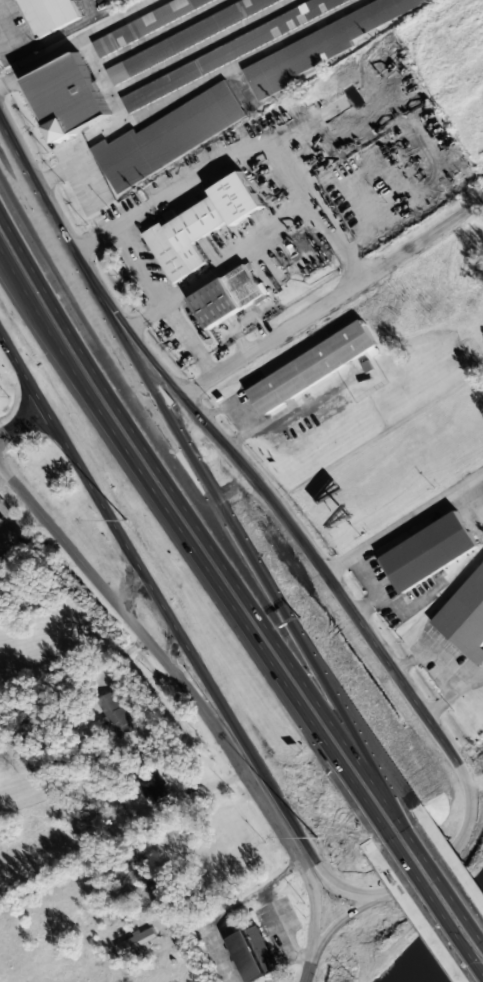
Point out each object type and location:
building: (48, 14)
building: (149, 26)
building: (183, 39)
building: (321, 46)
building: (227, 53)
building: (68, 97)
building: (168, 137)
road: (41, 202)
road: (2, 212)
building: (200, 226)
building: (227, 296)
road: (104, 299)
road: (99, 302)
road: (287, 332)
building: (310, 367)
road: (21, 421)
road: (57, 432)
road: (223, 446)
road: (200, 488)
building: (480, 514)
road: (403, 521)
road: (199, 527)
building: (428, 552)
road: (191, 553)
road: (149, 583)
road: (130, 590)
road: (340, 594)
building: (465, 618)
road: (362, 626)
road: (187, 649)
road: (390, 666)
road: (189, 694)
building: (114, 715)
building: (151, 785)
road: (272, 789)
road: (471, 805)
building: (210, 847)
road: (445, 883)
road: (379, 893)
road: (380, 896)
road: (438, 915)
road: (335, 923)
building: (126, 944)
building: (251, 953)
road: (305, 968)

